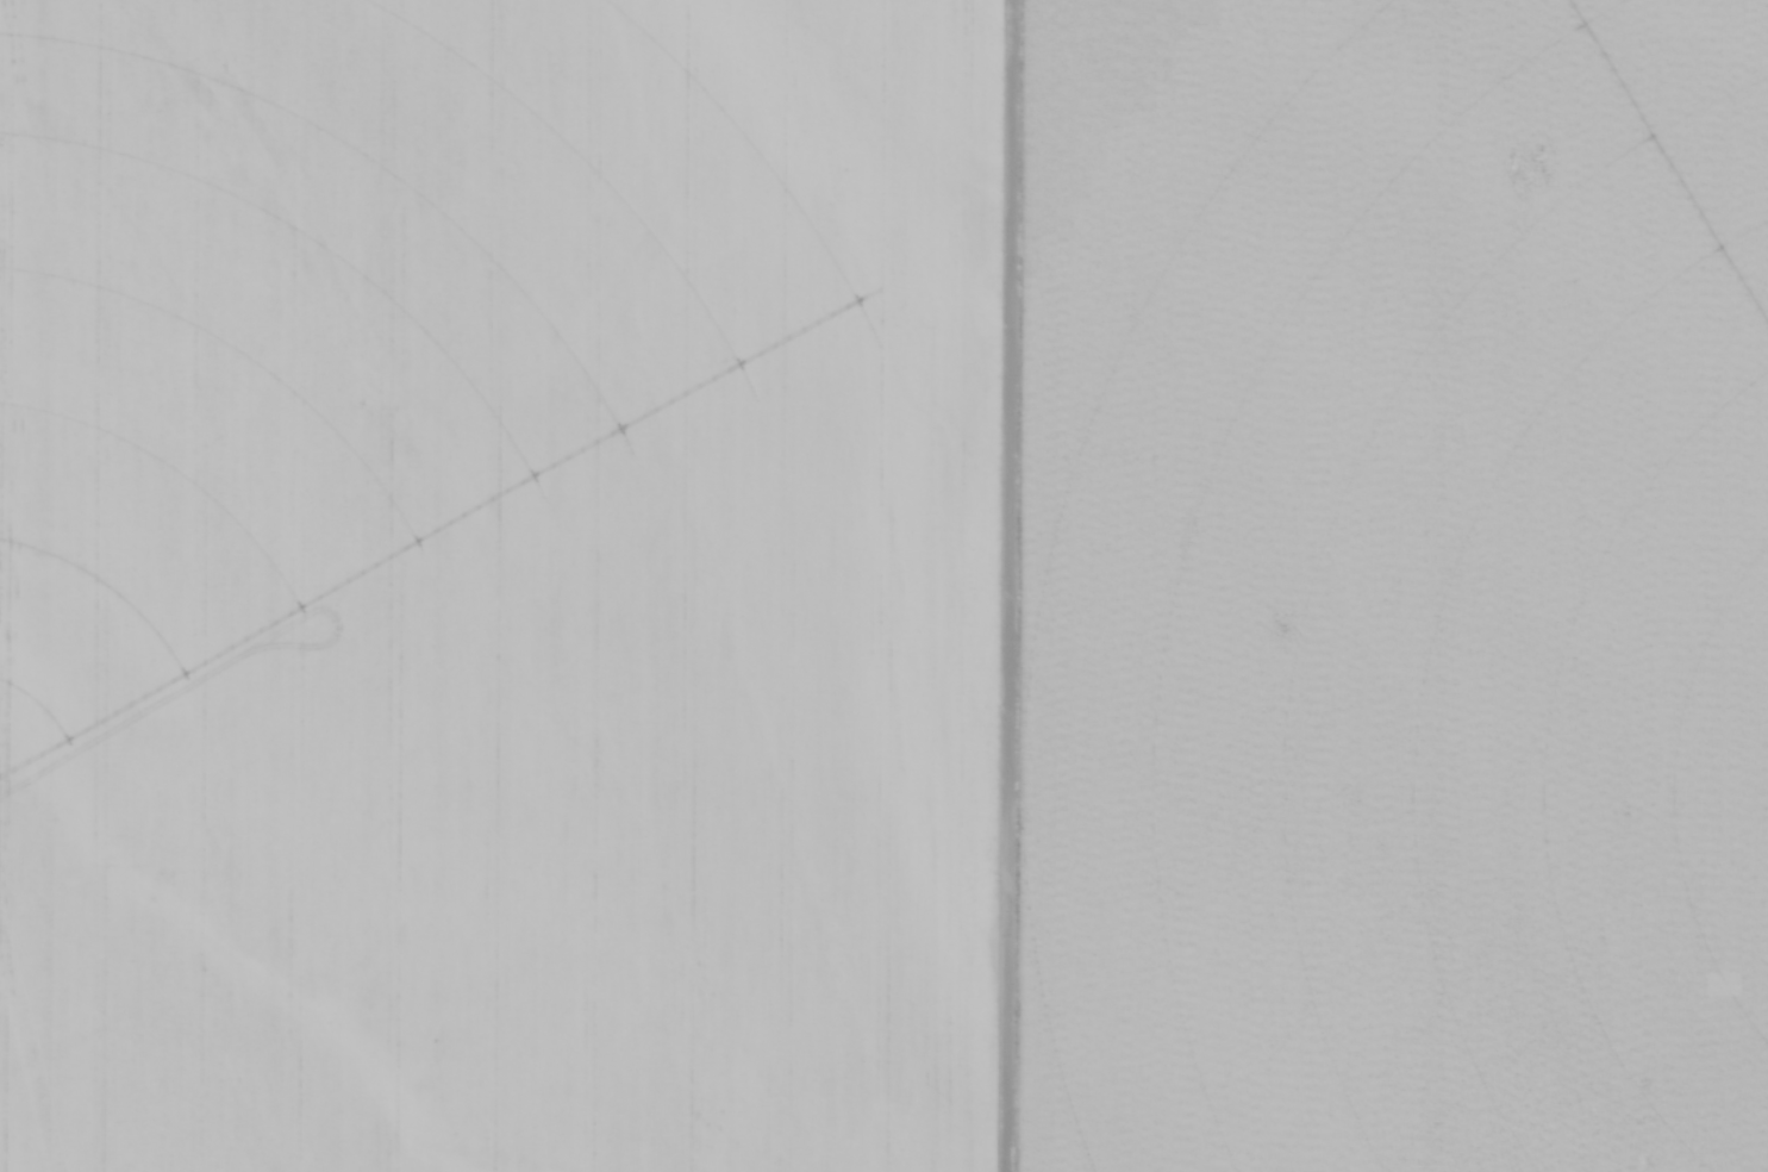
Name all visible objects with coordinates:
road: (1012, 586)

